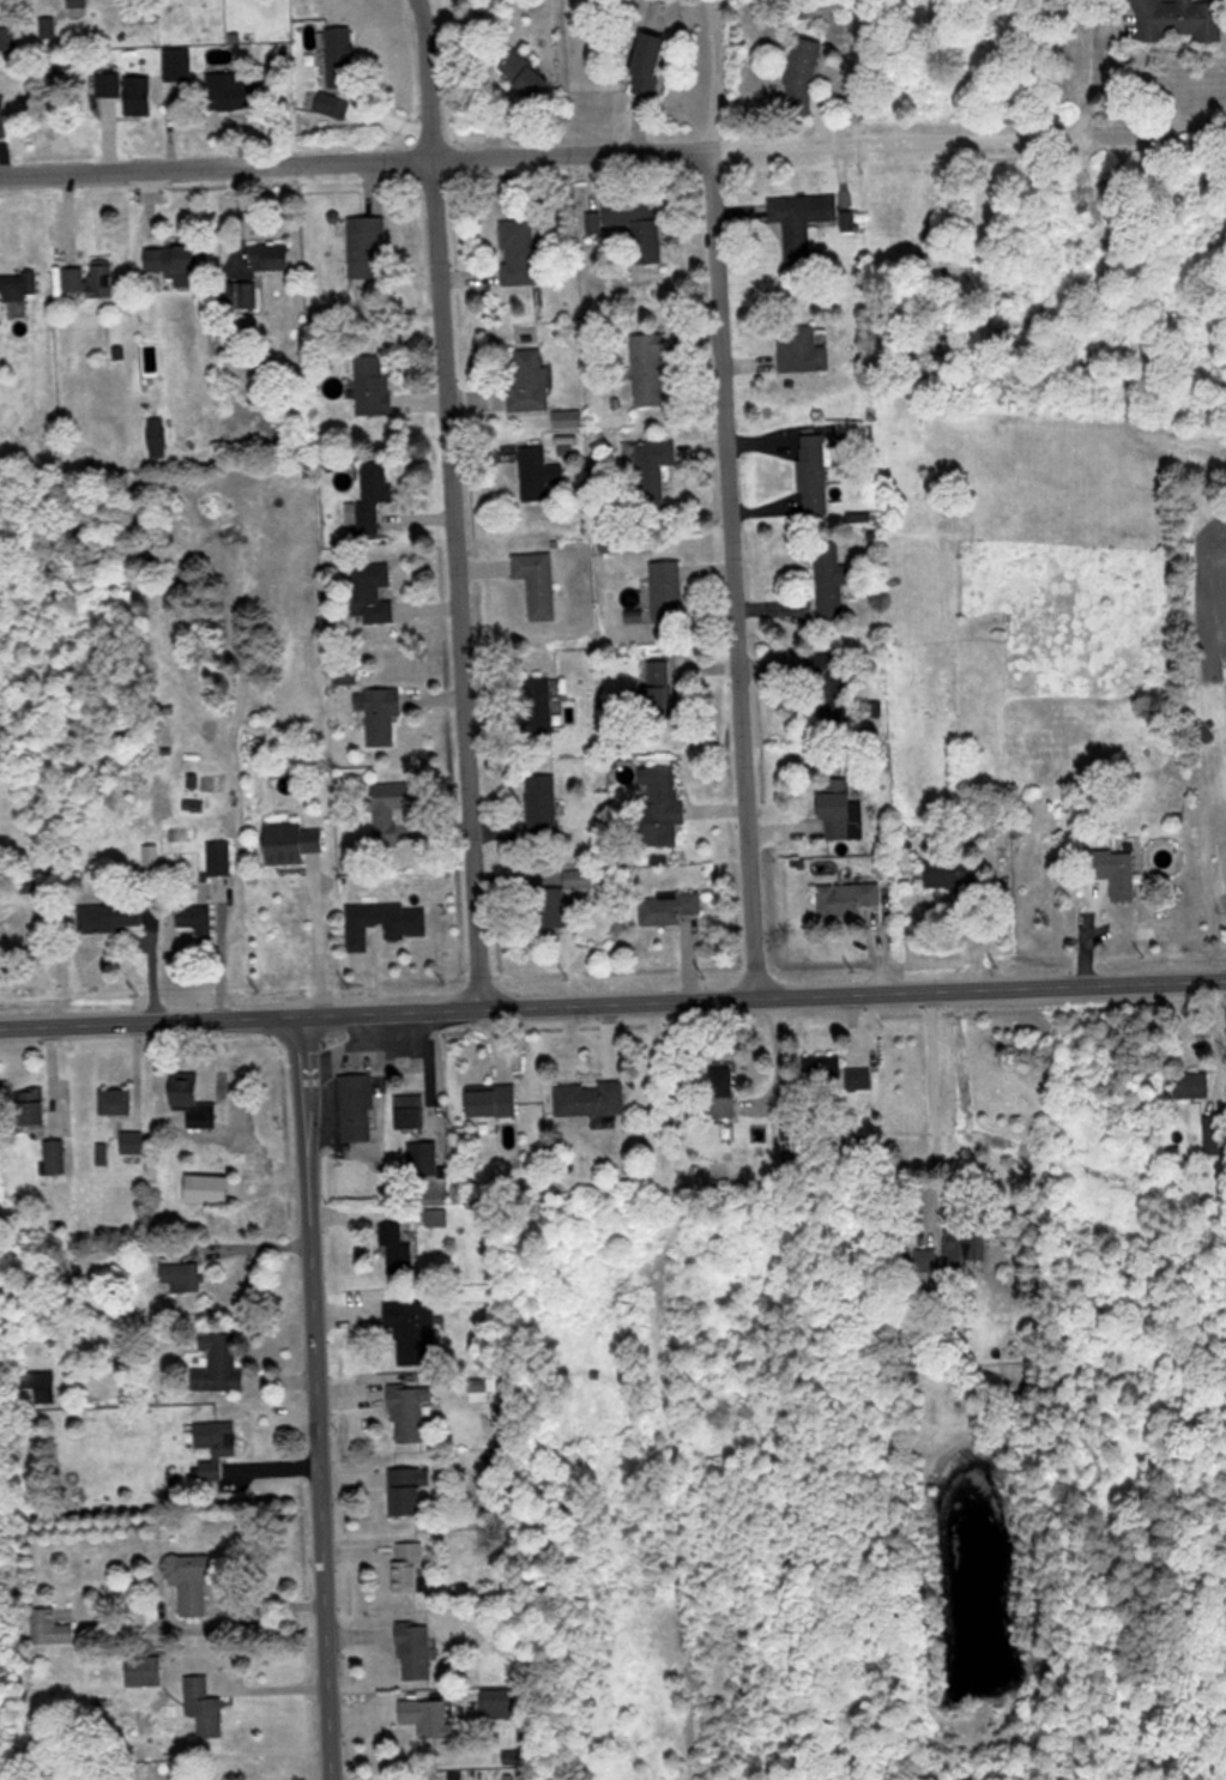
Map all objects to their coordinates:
building: (1179, 18)
building: (8, 37)
building: (340, 55)
building: (648, 62)
building: (177, 64)
building: (802, 73)
building: (526, 74)
building: (109, 84)
building: (139, 91)
building: (234, 91)
building: (333, 104)
building: (2, 116)
road: (600, 149)
building: (593, 219)
building: (801, 219)
building: (638, 223)
building: (367, 246)
building: (519, 251)
building: (270, 254)
building: (177, 261)
building: (91, 277)
building: (18, 284)
building: (243, 292)
building: (327, 315)
building: (802, 349)
building: (648, 368)
building: (530, 379)
building: (373, 384)
building: (158, 436)
building: (653, 471)
building: (538, 473)
building: (814, 473)
road: (723, 495)
building: (370, 500)
road: (443, 501)
building: (829, 577)
building: (537, 581)
building: (666, 589)
building: (372, 592)
building: (833, 683)
building: (658, 687)
building: (539, 701)
building: (381, 712)
building: (1206, 731)
building: (542, 805)
building: (662, 807)
building: (839, 807)
building: (391, 808)
building: (292, 841)
building: (219, 868)
building: (1117, 870)
building: (952, 875)
building: (850, 897)
building: (563, 899)
building: (669, 906)
building: (111, 916)
building: (195, 916)
building: (385, 921)
road: (321, 939)
road: (612, 997)
building: (823, 1070)
building: (858, 1076)
building: (1194, 1085)
building: (724, 1092)
building: (591, 1097)
building: (193, 1098)
building: (115, 1099)
building: (495, 1100)
road: (935, 1104)
building: (30, 1105)
building: (357, 1106)
building: (409, 1110)
building: (1215, 1134)
building: (133, 1140)
building: (56, 1156)
building: (423, 1158)
building: (209, 1188)
building: (968, 1244)
building: (401, 1257)
building: (182, 1275)
building: (412, 1332)
building: (218, 1364)
building: (40, 1387)
building: (477, 1389)
road: (308, 1396)
building: (410, 1411)
building: (215, 1444)
building: (407, 1489)
building: (409, 1564)
building: (192, 1580)
building: (50, 1625)
building: (415, 1648)
building: (144, 1667)
building: (500, 1701)
building: (204, 1704)
building: (430, 1715)

